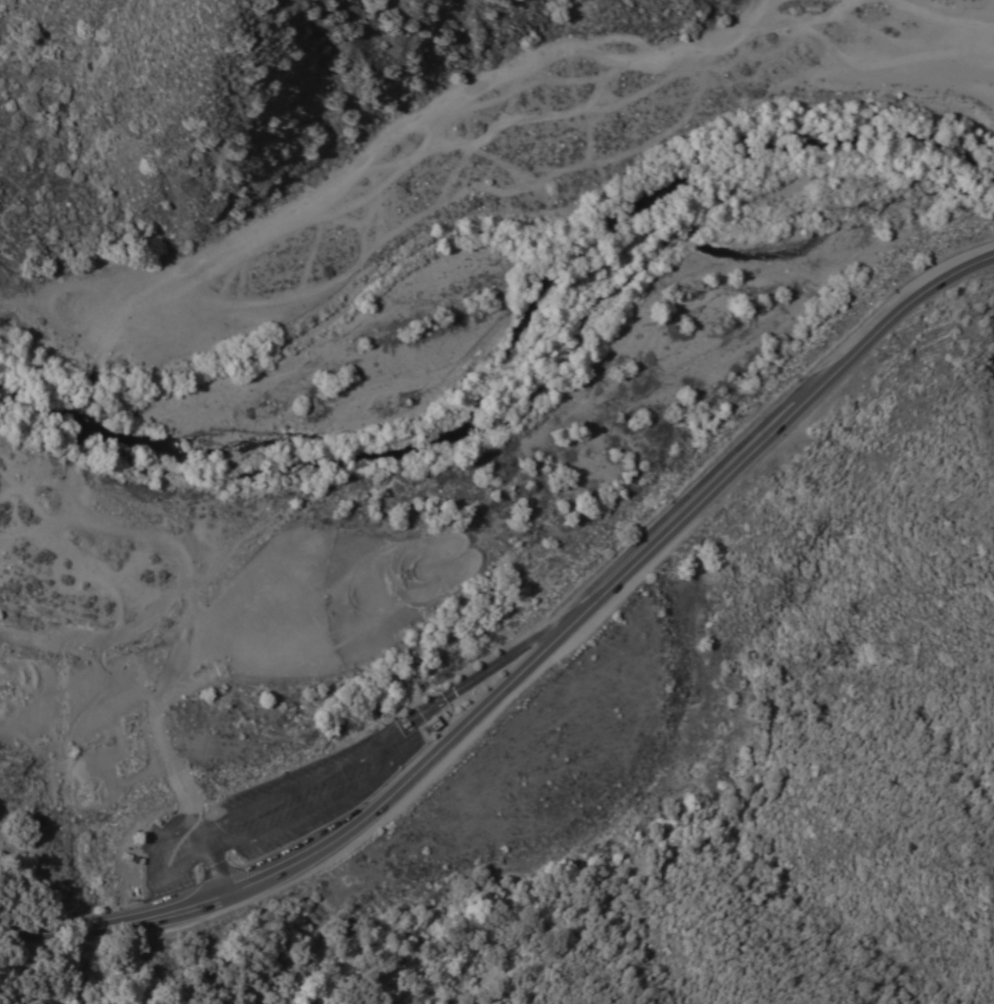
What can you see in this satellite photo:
road: (756, 13)
road: (938, 20)
road: (813, 22)
road: (32, 204)
road: (156, 283)
road: (44, 310)
river: (509, 331)
road: (446, 575)
road: (498, 660)
road: (531, 662)
building: (433, 721)
parking lot: (271, 810)
road: (151, 857)
road: (217, 857)
road: (209, 861)
road: (248, 952)

